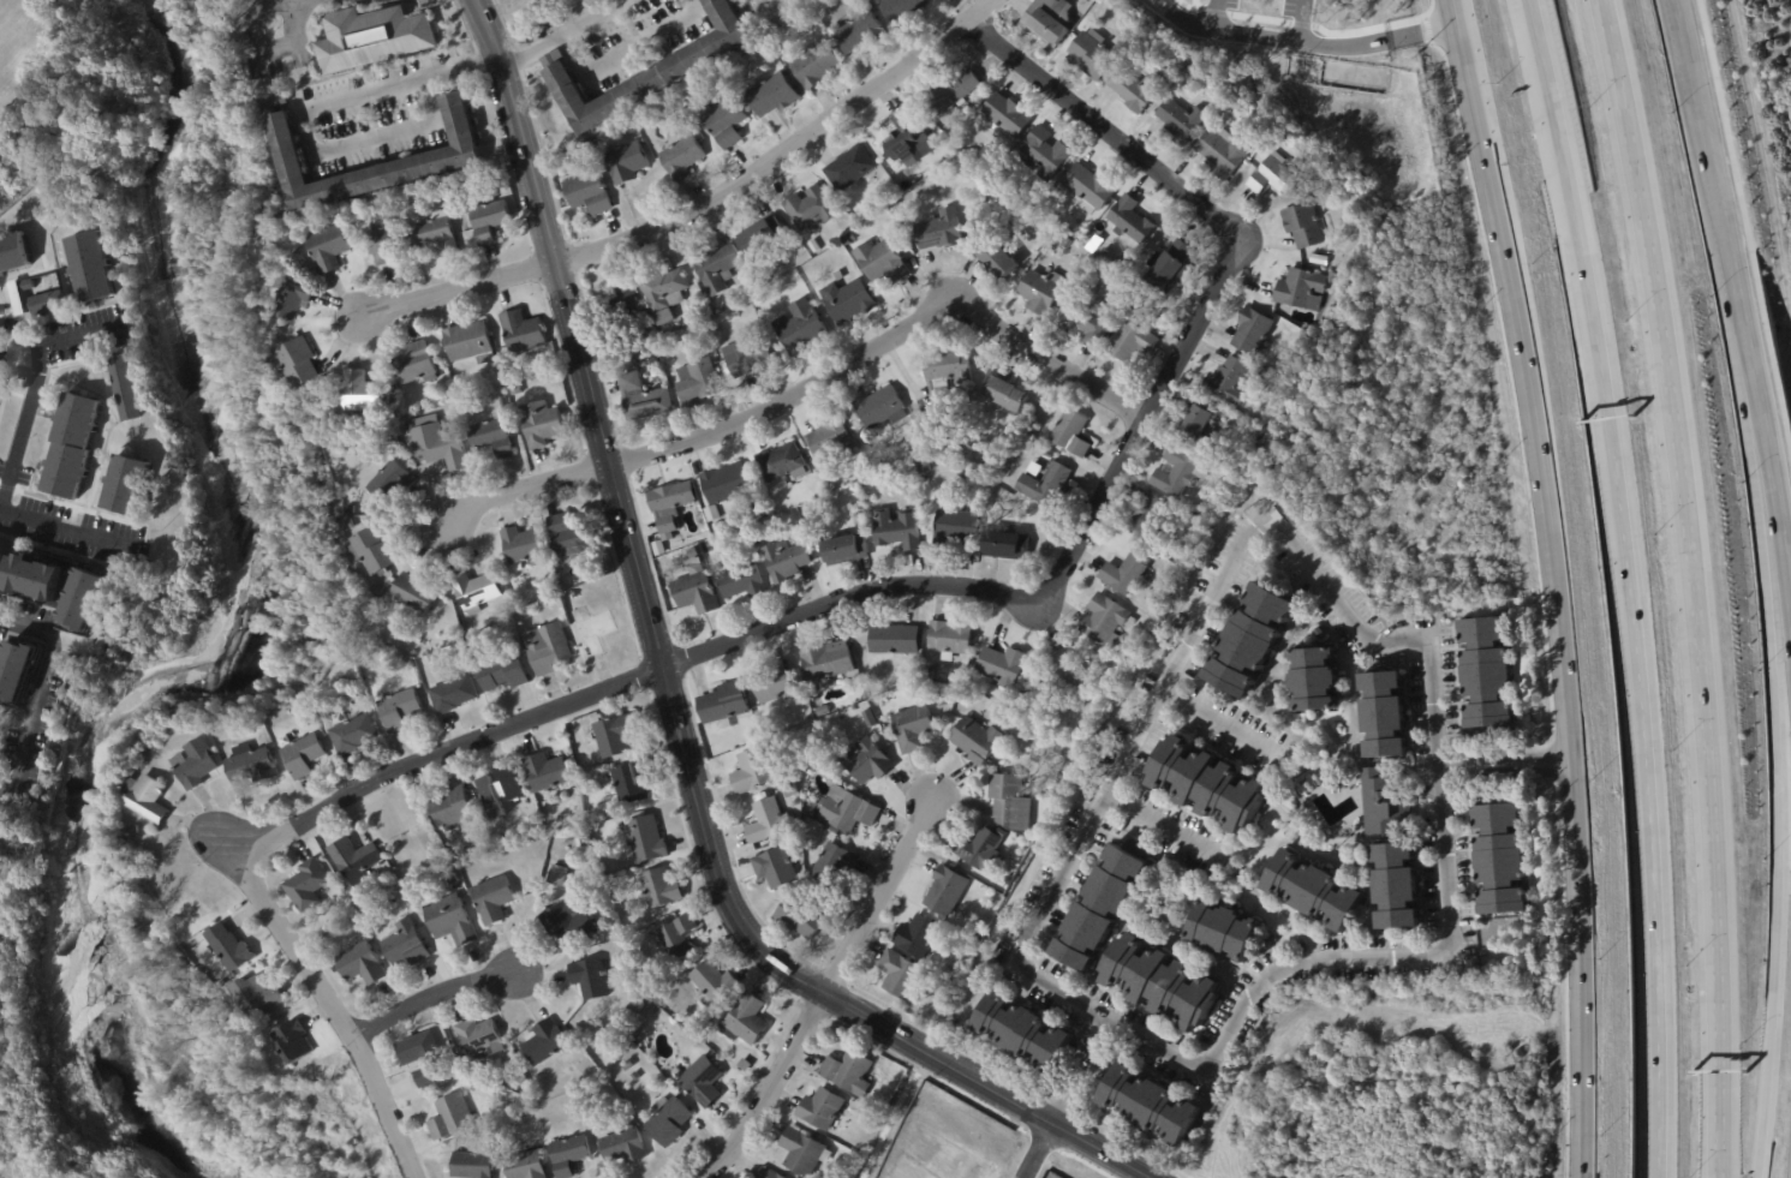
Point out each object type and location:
building: (1094, 0)
road: (342, 2)
building: (899, 8)
road: (591, 16)
building: (1047, 19)
road: (1183, 19)
road: (1533, 25)
building: (858, 31)
road: (1244, 31)
building: (378, 41)
road: (1357, 42)
road: (529, 50)
road: (622, 50)
building: (1093, 54)
road: (257, 56)
building: (442, 60)
building: (813, 64)
building: (644, 72)
building: (1136, 88)
building: (950, 90)
building: (770, 95)
building: (683, 104)
road: (1473, 108)
building: (1005, 114)
road: (300, 115)
building: (901, 119)
building: (722, 121)
building: (1180, 121)
road: (1705, 127)
building: (620, 131)
building: (1253, 143)
building: (912, 146)
building: (1222, 151)
road: (780, 153)
building: (1043, 153)
building: (680, 156)
building: (459, 157)
building: (623, 161)
building: (848, 165)
building: (1272, 177)
building: (1088, 189)
building: (586, 192)
building: (1045, 205)
building: (810, 208)
building: (490, 220)
building: (1129, 220)
building: (1302, 226)
building: (937, 227)
building: (440, 235)
building: (759, 235)
building: (848, 239)
road: (1744, 239)
building: (1065, 243)
building: (393, 245)
building: (813, 246)
building: (333, 251)
building: (13, 252)
building: (993, 257)
building: (882, 259)
building: (1318, 259)
building: (1118, 264)
building: (1170, 267)
building: (91, 268)
building: (715, 268)
building: (1333, 279)
building: (1300, 287)
road: (455, 288)
building: (663, 288)
building: (1040, 291)
building: (19, 293)
building: (289, 299)
building: (847, 300)
building: (47, 303)
building: (616, 303)
road: (1743, 315)
building: (662, 317)
building: (1086, 324)
building: (799, 328)
road: (878, 330)
building: (521, 331)
building: (1252, 331)
road: (73, 335)
building: (1130, 340)
building: (468, 342)
building: (679, 343)
building: (747, 358)
building: (294, 363)
building: (652, 363)
building: (412, 364)
building: (0, 367)
building: (1256, 369)
building: (944, 376)
building: (1228, 379)
building: (697, 381)
building: (124, 388)
building: (513, 390)
building: (359, 393)
building: (1003, 394)
building: (640, 397)
road: (28, 401)
building: (879, 407)
building: (1196, 421)
building: (539, 424)
building: (1070, 433)
building: (384, 436)
building: (490, 436)
building: (830, 438)
building: (435, 443)
building: (71, 446)
building: (781, 462)
building: (923, 467)
building: (1177, 472)
building: (997, 479)
building: (388, 482)
building: (1043, 482)
building: (726, 485)
building: (832, 485)
building: (126, 486)
road: (526, 494)
building: (1277, 497)
road: (1773, 497)
building: (670, 506)
building: (762, 512)
building: (712, 513)
building: (1292, 519)
building: (854, 520)
building: (1151, 520)
building: (351, 525)
road: (59, 526)
building: (955, 526)
building: (716, 527)
building: (895, 530)
building: (742, 533)
building: (566, 537)
building: (756, 542)
building: (523, 545)
building: (1004, 546)
building: (658, 548)
building: (843, 549)
building: (371, 550)
building: (786, 560)
building: (30, 573)
building: (1124, 573)
building: (741, 581)
road: (983, 584)
road: (1691, 585)
building: (474, 592)
building: (416, 593)
building: (693, 593)
building: (83, 599)
road: (1631, 611)
building: (1103, 622)
building: (495, 628)
building: (595, 632)
building: (1319, 634)
building: (948, 639)
building: (892, 640)
building: (1249, 640)
building: (422, 642)
building: (548, 650)
building: (428, 659)
building: (825, 662)
building: (999, 666)
building: (17, 670)
building: (502, 672)
building: (1485, 674)
building: (927, 675)
building: (1061, 676)
building: (1314, 680)
building: (774, 683)
road: (36, 688)
building: (452, 695)
road: (1563, 695)
road: (669, 696)
building: (723, 706)
building: (880, 708)
building: (398, 710)
building: (823, 711)
building: (1383, 716)
building: (868, 718)
road: (1213, 722)
building: (305, 723)
building: (912, 726)
building: (351, 735)
building: (610, 736)
building: (974, 741)
road: (1127, 745)
building: (1064, 749)
building: (303, 755)
building: (867, 763)
road: (1499, 763)
building: (193, 764)
building: (247, 766)
building: (752, 772)
building: (544, 773)
road: (1774, 775)
building: (629, 783)
building: (1207, 784)
building: (1305, 784)
building: (499, 790)
building: (788, 791)
building: (143, 796)
building: (1009, 803)
building: (1384, 807)
building: (450, 809)
building: (810, 809)
building: (844, 811)
building: (766, 823)
road: (1152, 825)
building: (133, 830)
building: (644, 841)
building: (579, 844)
building: (979, 848)
building: (468, 850)
building: (553, 859)
building: (1498, 859)
building: (351, 861)
building: (831, 865)
building: (775, 866)
building: (555, 877)
building: (450, 880)
road: (876, 885)
building: (304, 886)
building: (1395, 886)
building: (658, 889)
building: (1313, 891)
building: (945, 893)
building: (492, 899)
building: (1100, 908)
building: (799, 919)
building: (449, 920)
building: (566, 923)
building: (1222, 932)
building: (675, 939)
building: (917, 939)
building: (1272, 939)
building: (406, 945)
building: (232, 947)
building: (632, 952)
road: (1440, 956)
building: (359, 964)
building: (953, 970)
building: (899, 975)
building: (589, 980)
building: (226, 982)
building: (1160, 982)
building: (711, 986)
road: (428, 994)
building: (258, 998)
road: (329, 1004)
building: (623, 1015)
building: (745, 1022)
building: (1022, 1033)
building: (634, 1034)
building: (699, 1035)
road: (1103, 1040)
building: (478, 1041)
building: (294, 1042)
building: (543, 1044)
building: (422, 1059)
building: (626, 1066)
building: (742, 1066)
building: (847, 1071)
building: (634, 1076)
building: (698, 1080)
building: (513, 1086)
road: (1067, 1086)
road: (765, 1090)
road: (1077, 1093)
building: (1150, 1106)
building: (879, 1107)
building: (819, 1108)
building: (448, 1118)
building: (667, 1122)
road: (886, 1122)
building: (622, 1146)
road: (1037, 1150)
building: (801, 1152)
building: (567, 1155)
building: (470, 1166)
building: (523, 1166)
building: (765, 1173)

